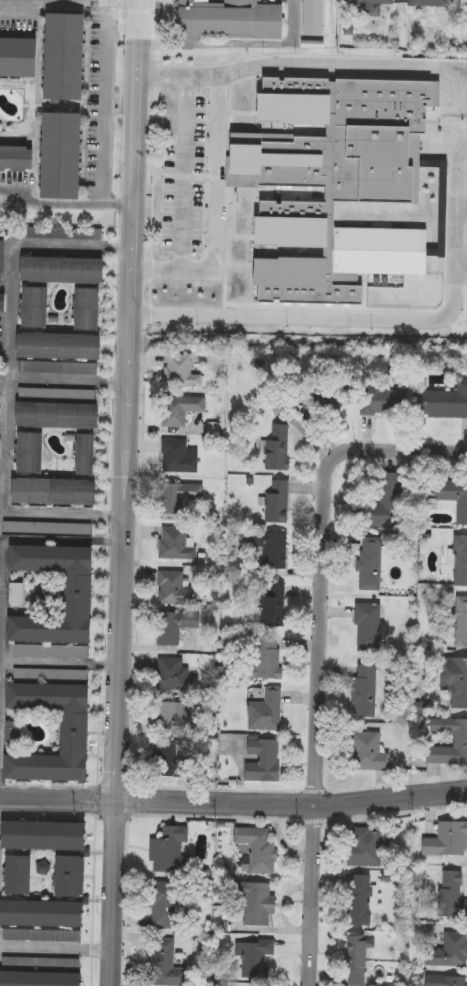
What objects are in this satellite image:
road: (123, 0)
building: (373, 2)
building: (432, 3)
road: (154, 5)
road: (138, 8)
building: (238, 20)
building: (22, 57)
building: (70, 57)
road: (326, 64)
road: (460, 150)
building: (445, 155)
building: (68, 156)
building: (20, 158)
road: (184, 170)
building: (338, 180)
road: (220, 188)
parking lot: (184, 189)
road: (67, 203)
road: (461, 206)
parking lot: (466, 219)
building: (66, 234)
parking lot: (66, 234)
building: (2, 249)
parking lot: (2, 249)
road: (461, 261)
building: (68, 270)
parking lot: (466, 274)
building: (41, 308)
building: (94, 309)
road: (414, 315)
building: (65, 346)
building: (184, 371)
road: (109, 393)
building: (387, 402)
building: (343, 403)
building: (444, 403)
building: (183, 409)
building: (63, 415)
building: (321, 419)
road: (9, 443)
road: (396, 447)
building: (280, 449)
building: (36, 453)
building: (92, 455)
building: (181, 456)
road: (141, 474)
building: (60, 491)
road: (128, 493)
building: (183, 496)
building: (455, 498)
building: (0, 499)
parking lot: (0, 499)
building: (280, 501)
building: (385, 501)
building: (50, 528)
parking lot: (50, 528)
building: (178, 543)
building: (271, 549)
building: (0, 556)
building: (461, 560)
building: (372, 562)
building: (175, 588)
building: (20, 593)
building: (86, 594)
road: (3, 600)
building: (274, 605)
building: (460, 622)
building: (177, 625)
building: (370, 627)
building: (267, 658)
building: (176, 676)
building: (458, 683)
road: (0, 684)
building: (366, 690)
building: (269, 712)
building: (175, 718)
road: (318, 723)
building: (17, 732)
building: (82, 732)
building: (461, 741)
building: (372, 753)
building: (266, 760)
building: (171, 761)
road: (396, 781)
road: (312, 788)
road: (141, 795)
road: (98, 799)
road: (233, 799)
road: (396, 809)
road: (131, 815)
road: (313, 818)
building: (50, 836)
building: (449, 841)
building: (369, 847)
building: (260, 848)
building: (174, 850)
building: (24, 876)
building: (77, 877)
building: (455, 895)
road: (95, 900)
building: (361, 901)
building: (169, 904)
building: (260, 904)
building: (49, 915)
road: (56, 947)
building: (447, 951)
building: (258, 958)
building: (358, 959)
building: (168, 964)
building: (47, 979)
building: (448, 981)

